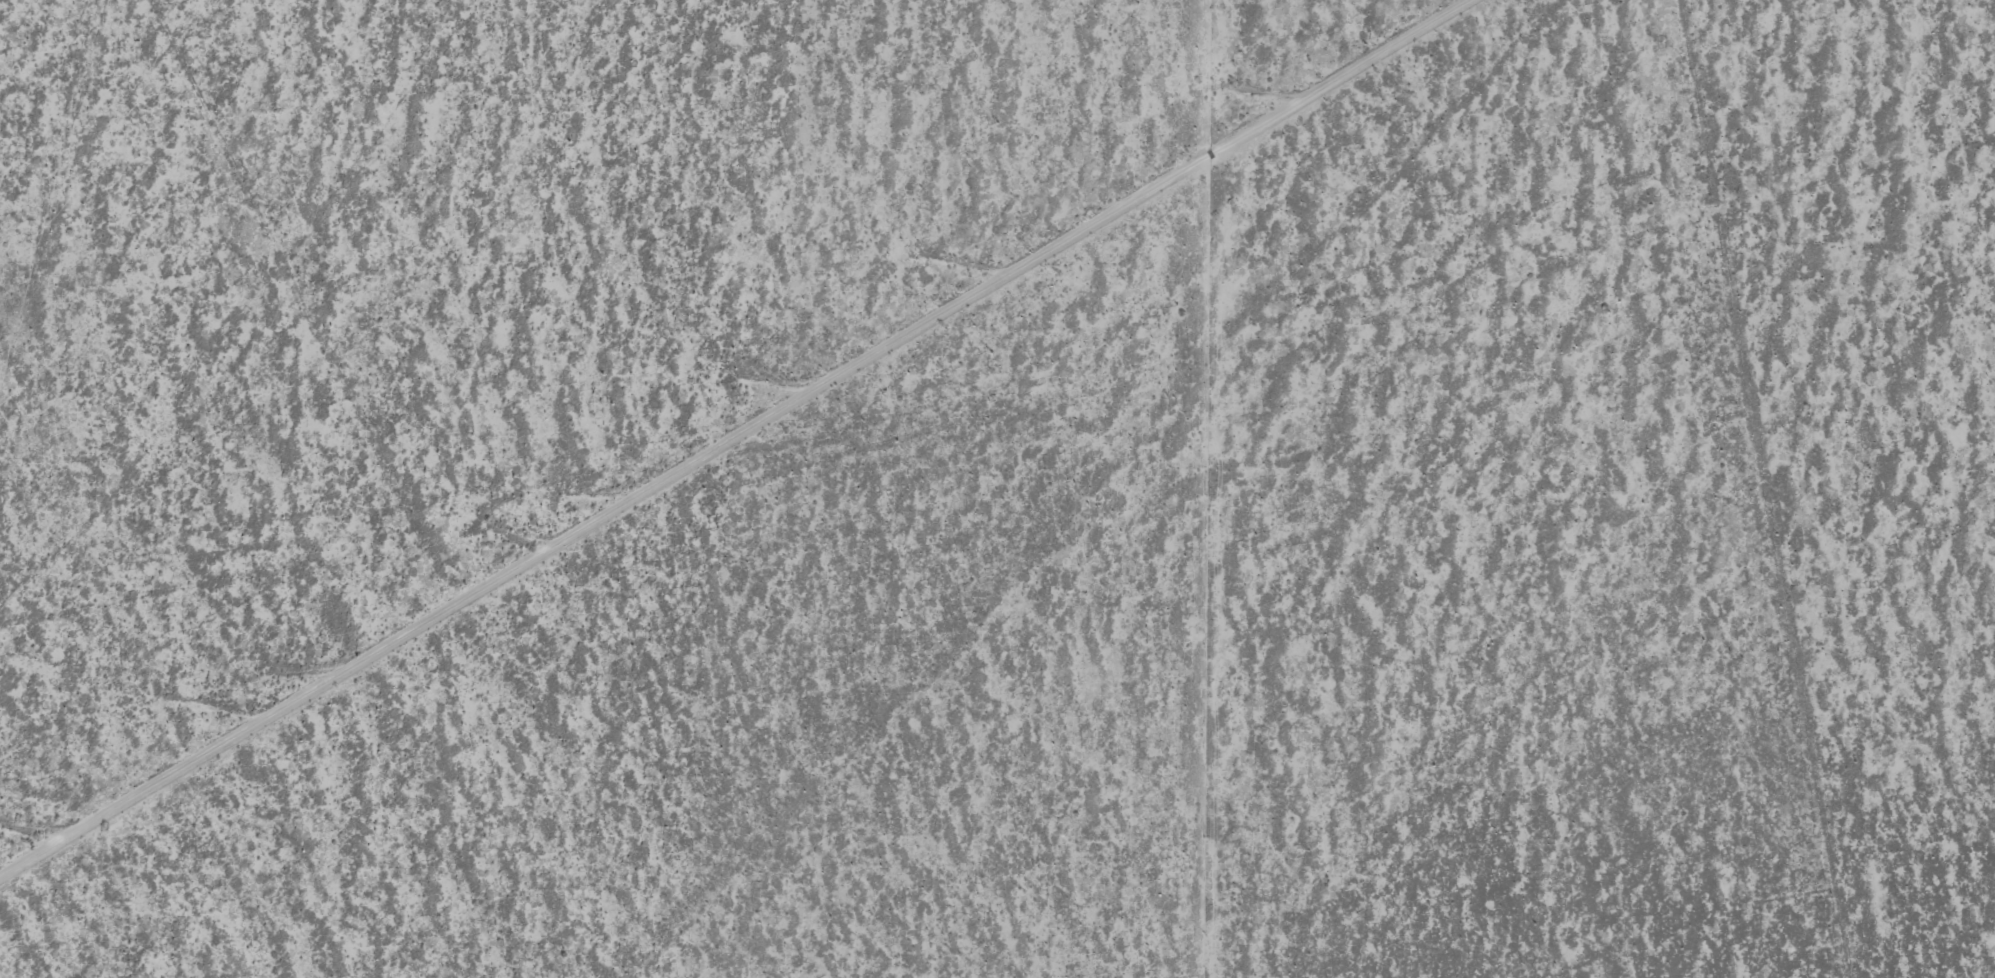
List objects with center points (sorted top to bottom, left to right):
road: (758, 440)
road: (1746, 488)

